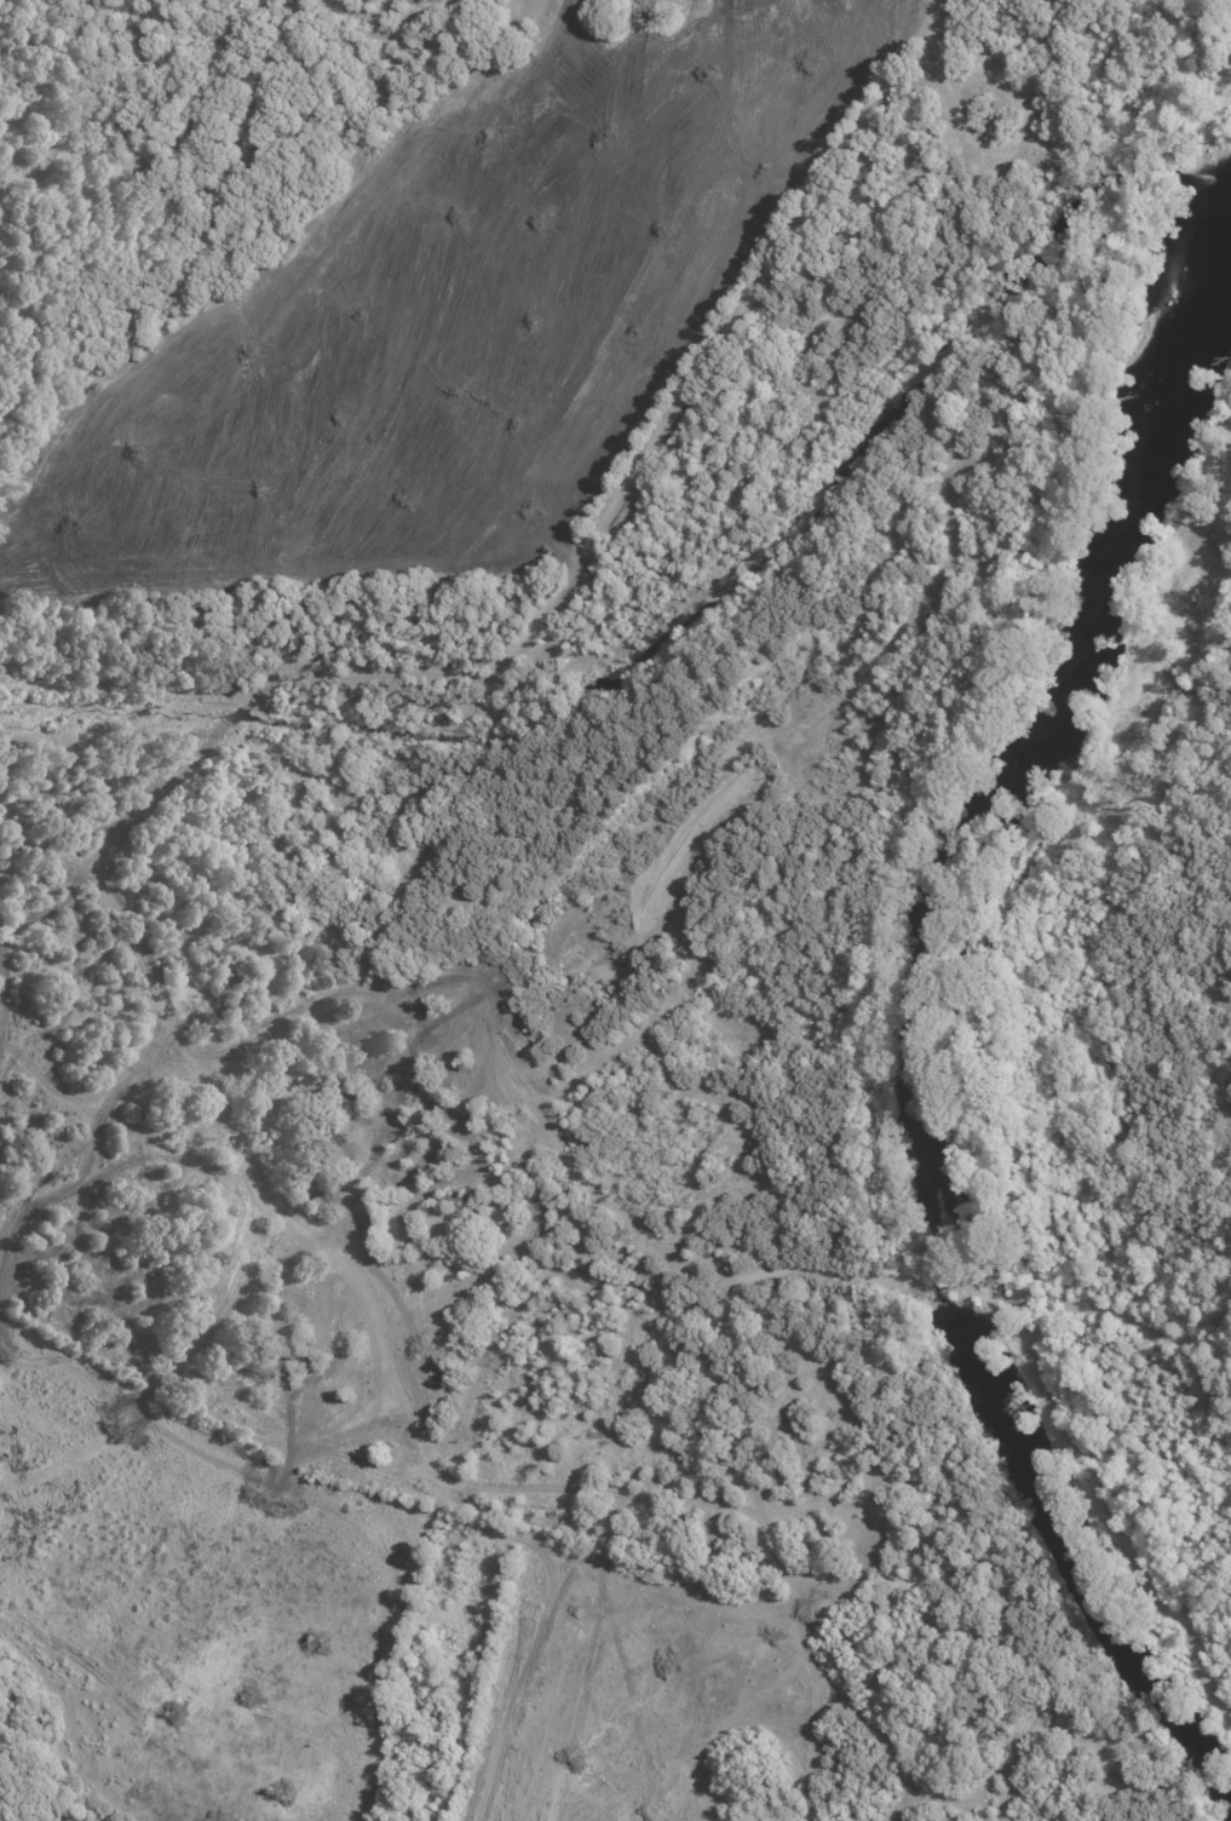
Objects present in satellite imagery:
building: (317, 1182)
building: (462, 1199)

